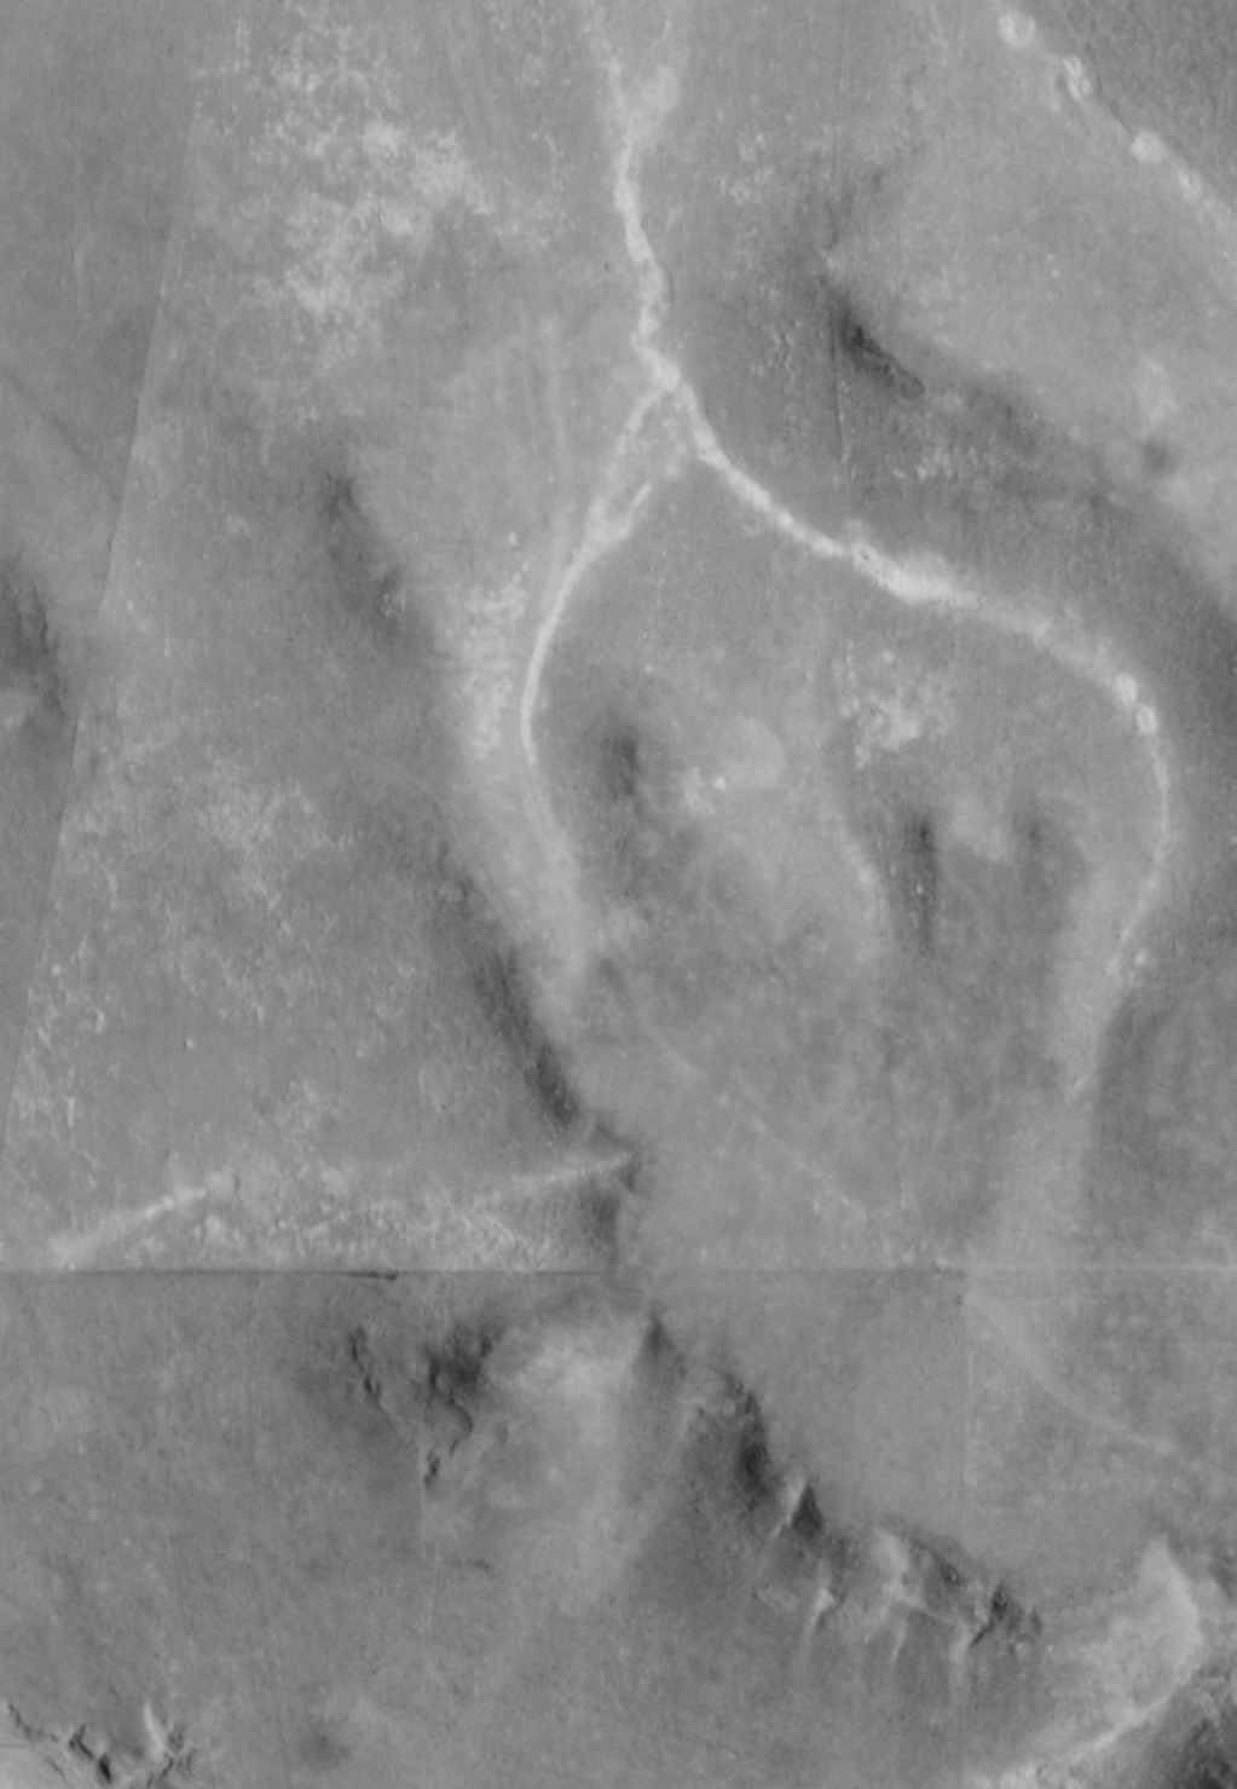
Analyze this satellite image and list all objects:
road: (1047, 1381)

